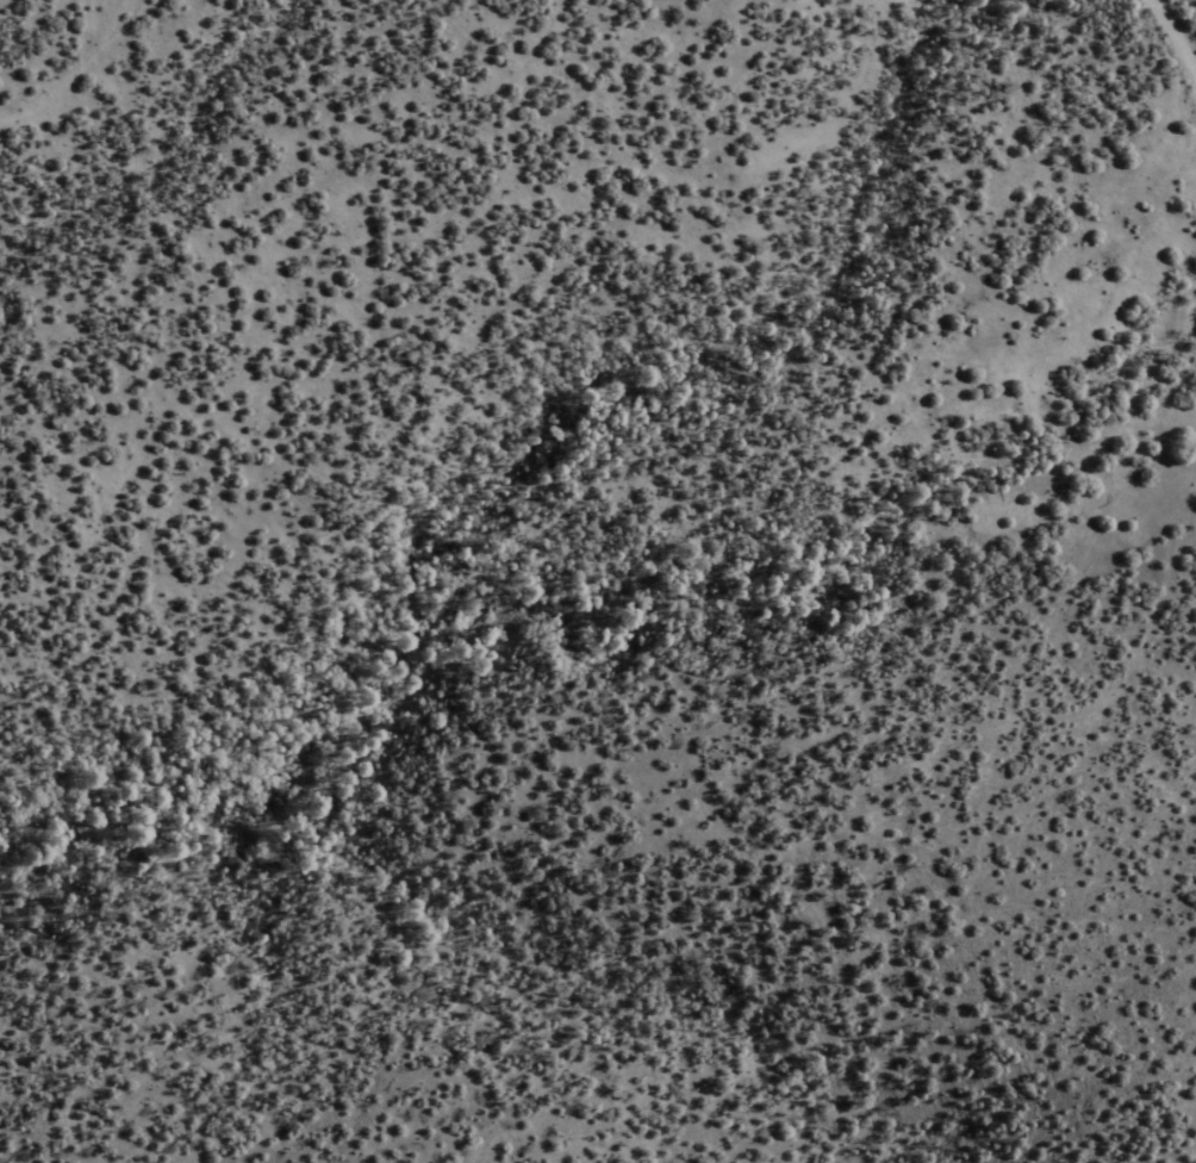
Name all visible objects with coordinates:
road: (1165, 30)

